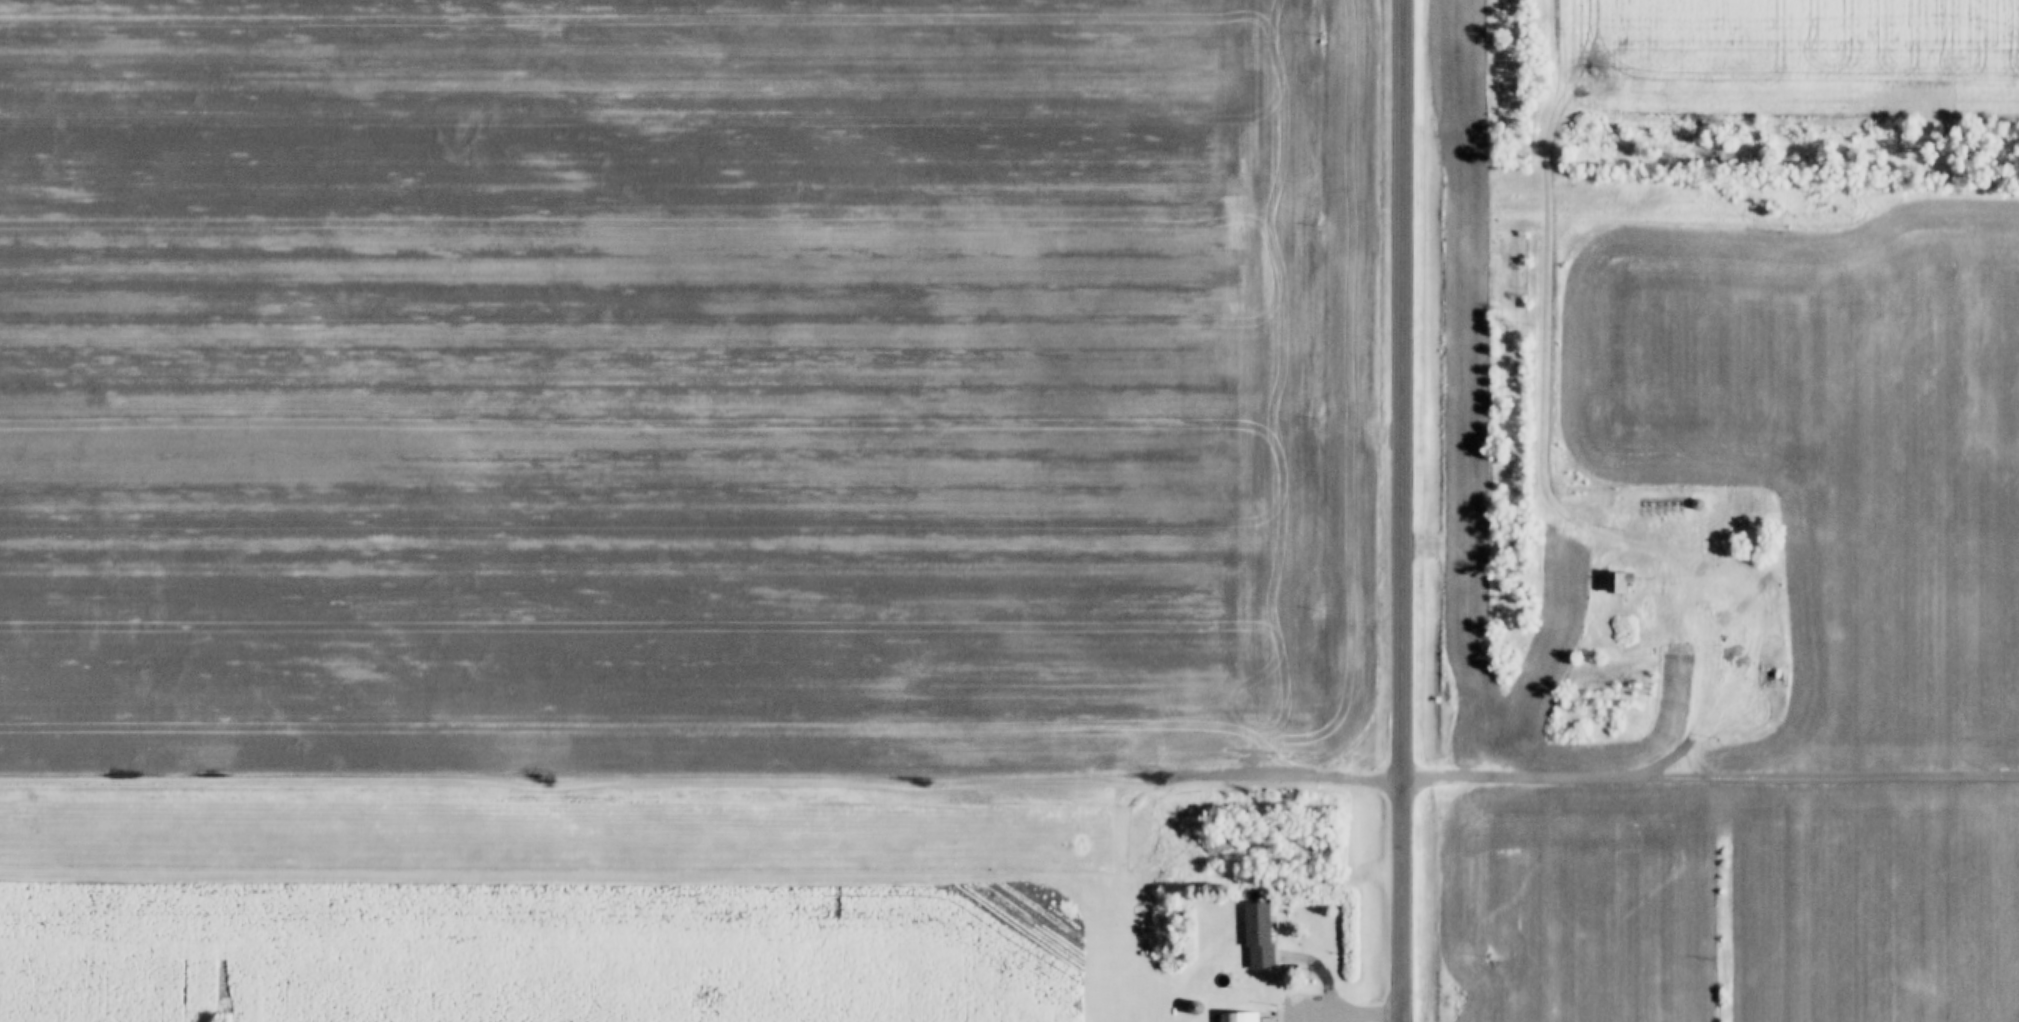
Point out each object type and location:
road: (1400, 511)
building: (1618, 583)
building: (1771, 678)
road: (1009, 777)
airport runway: (558, 836)
airport: (755, 862)
airport runway: (1116, 931)
building: (1257, 935)
building: (1191, 1002)
silo: (1191, 1002)
road: (1379, 1011)
road: (1334, 1014)
building: (1236, 1015)
road: (1353, 1017)

